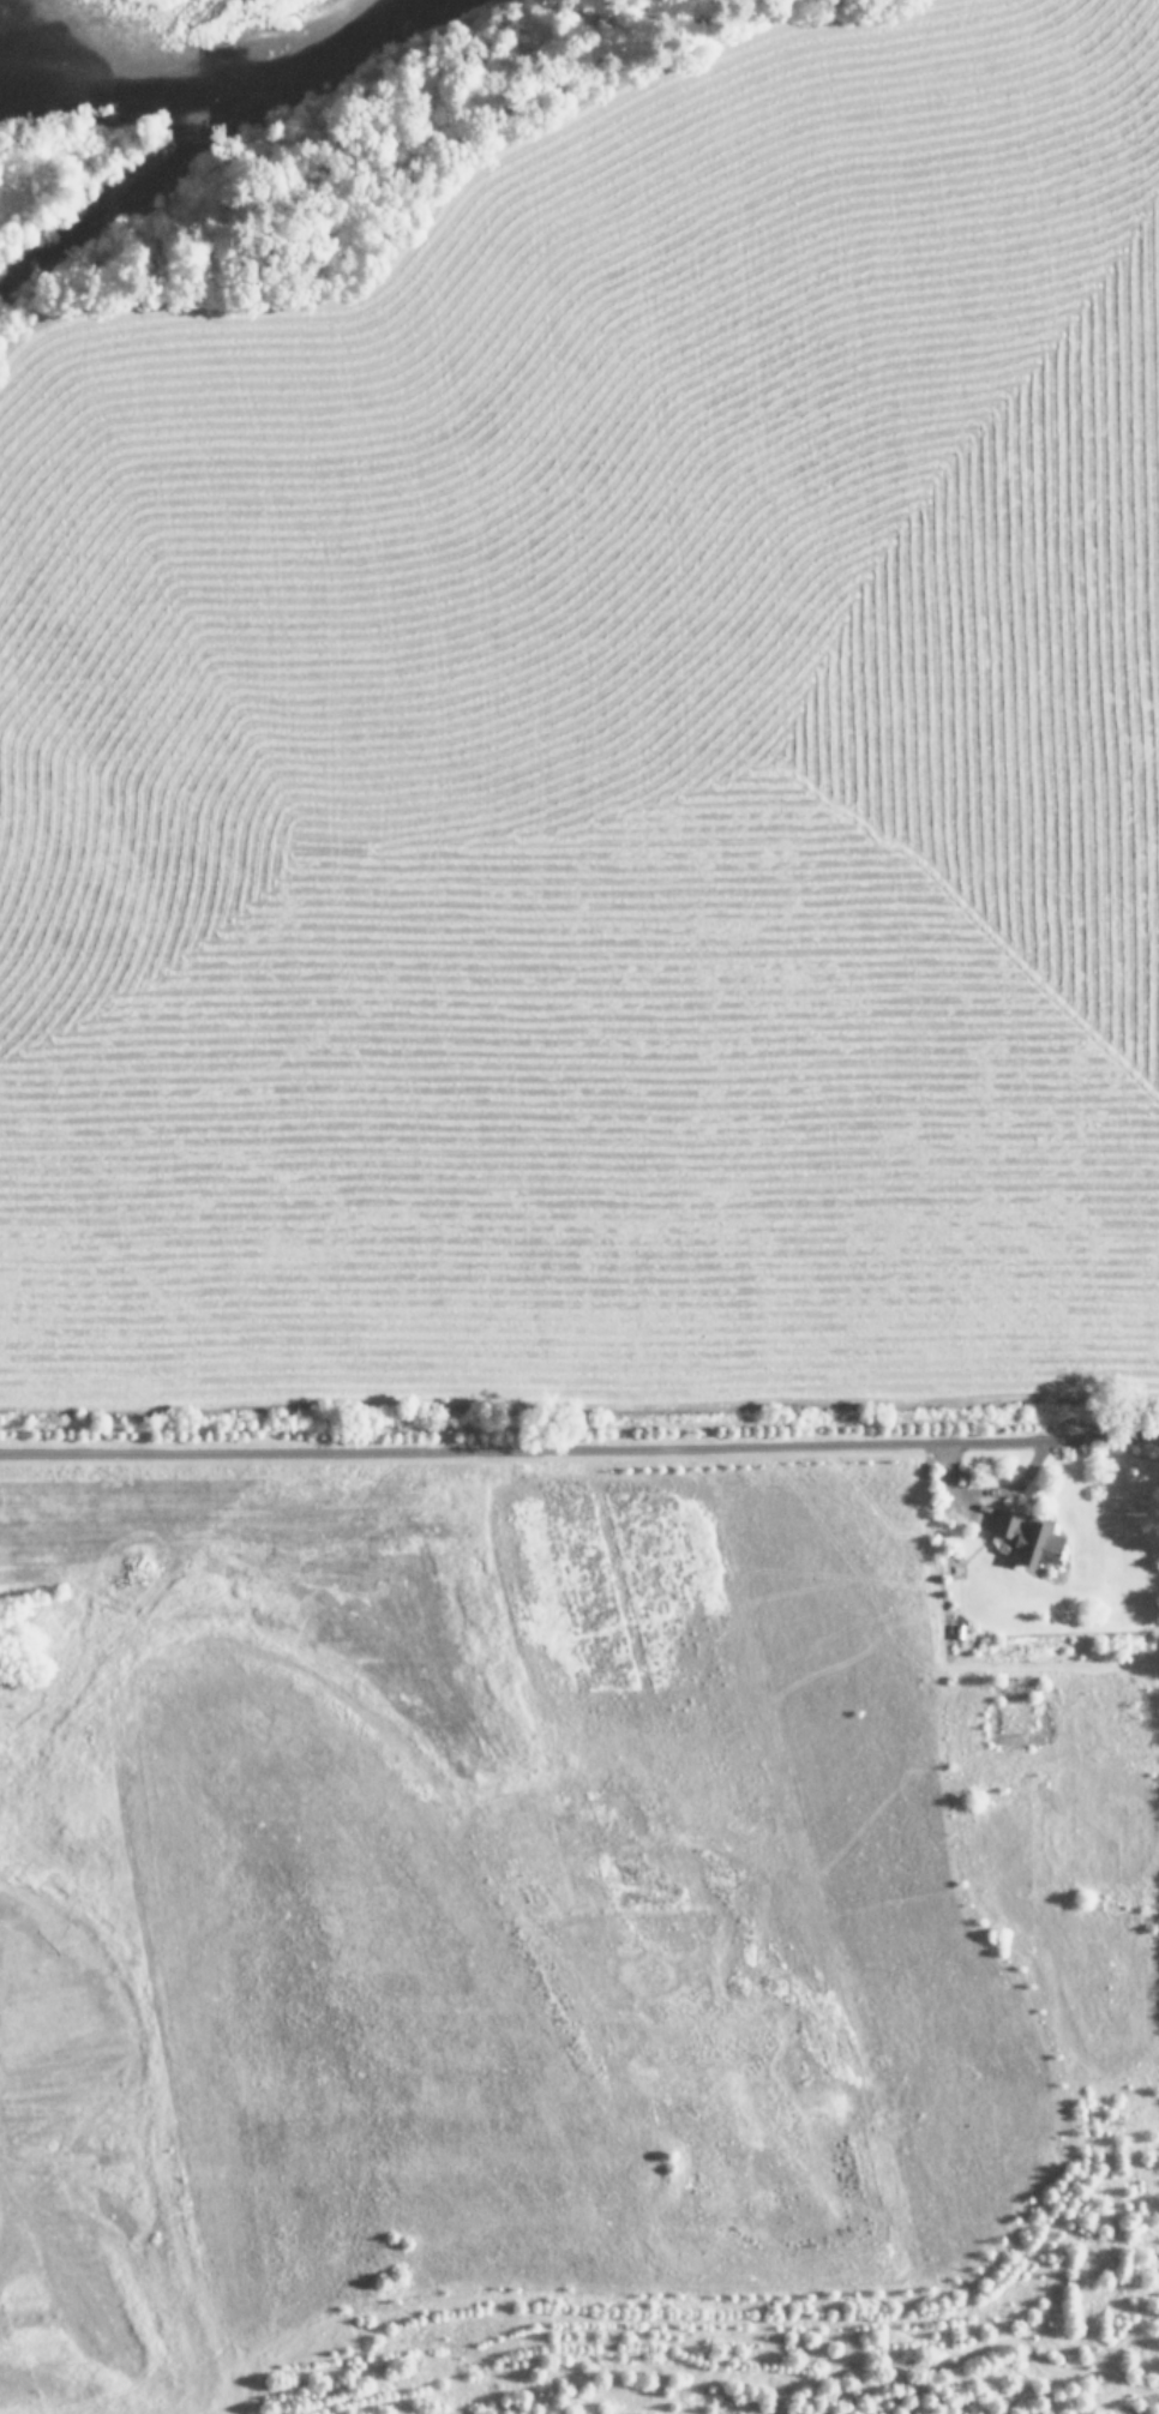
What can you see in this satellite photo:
crop: (600, 1275)
road: (1070, 1986)

